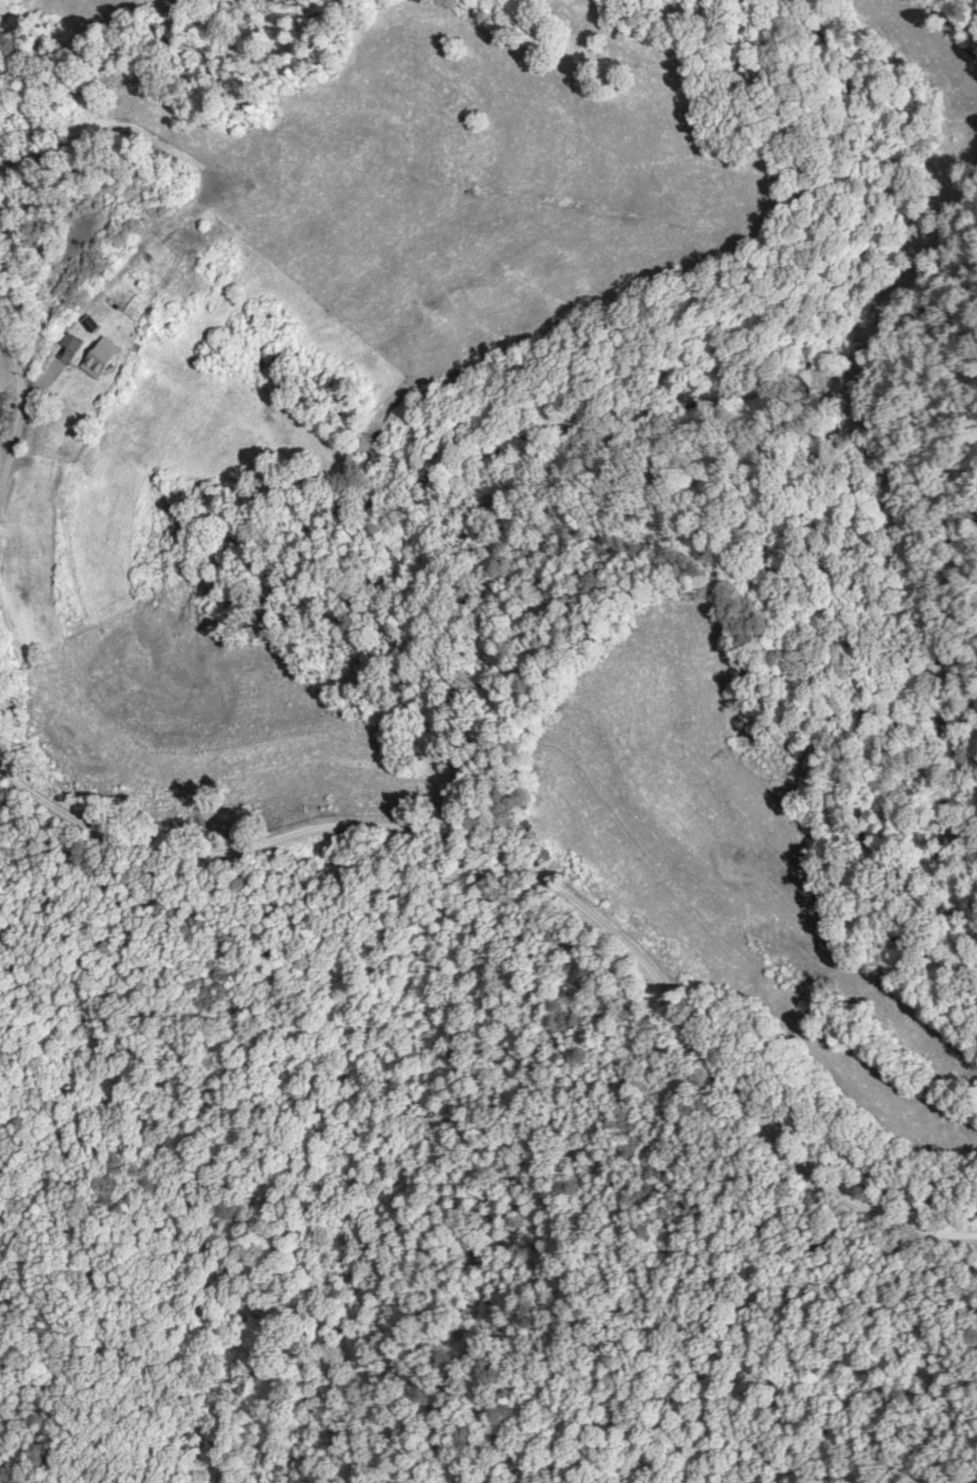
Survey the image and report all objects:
building: (973, 116)
building: (191, 224)
building: (89, 323)
building: (70, 342)
building: (97, 359)
road: (19, 397)
road: (94, 815)
road: (633, 936)

